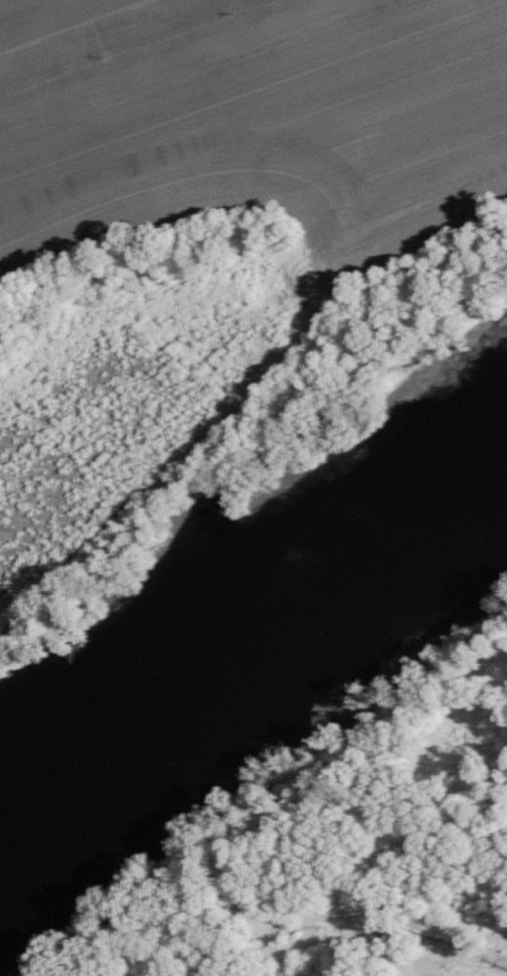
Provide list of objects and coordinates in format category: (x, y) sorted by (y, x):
river: (242, 625)

